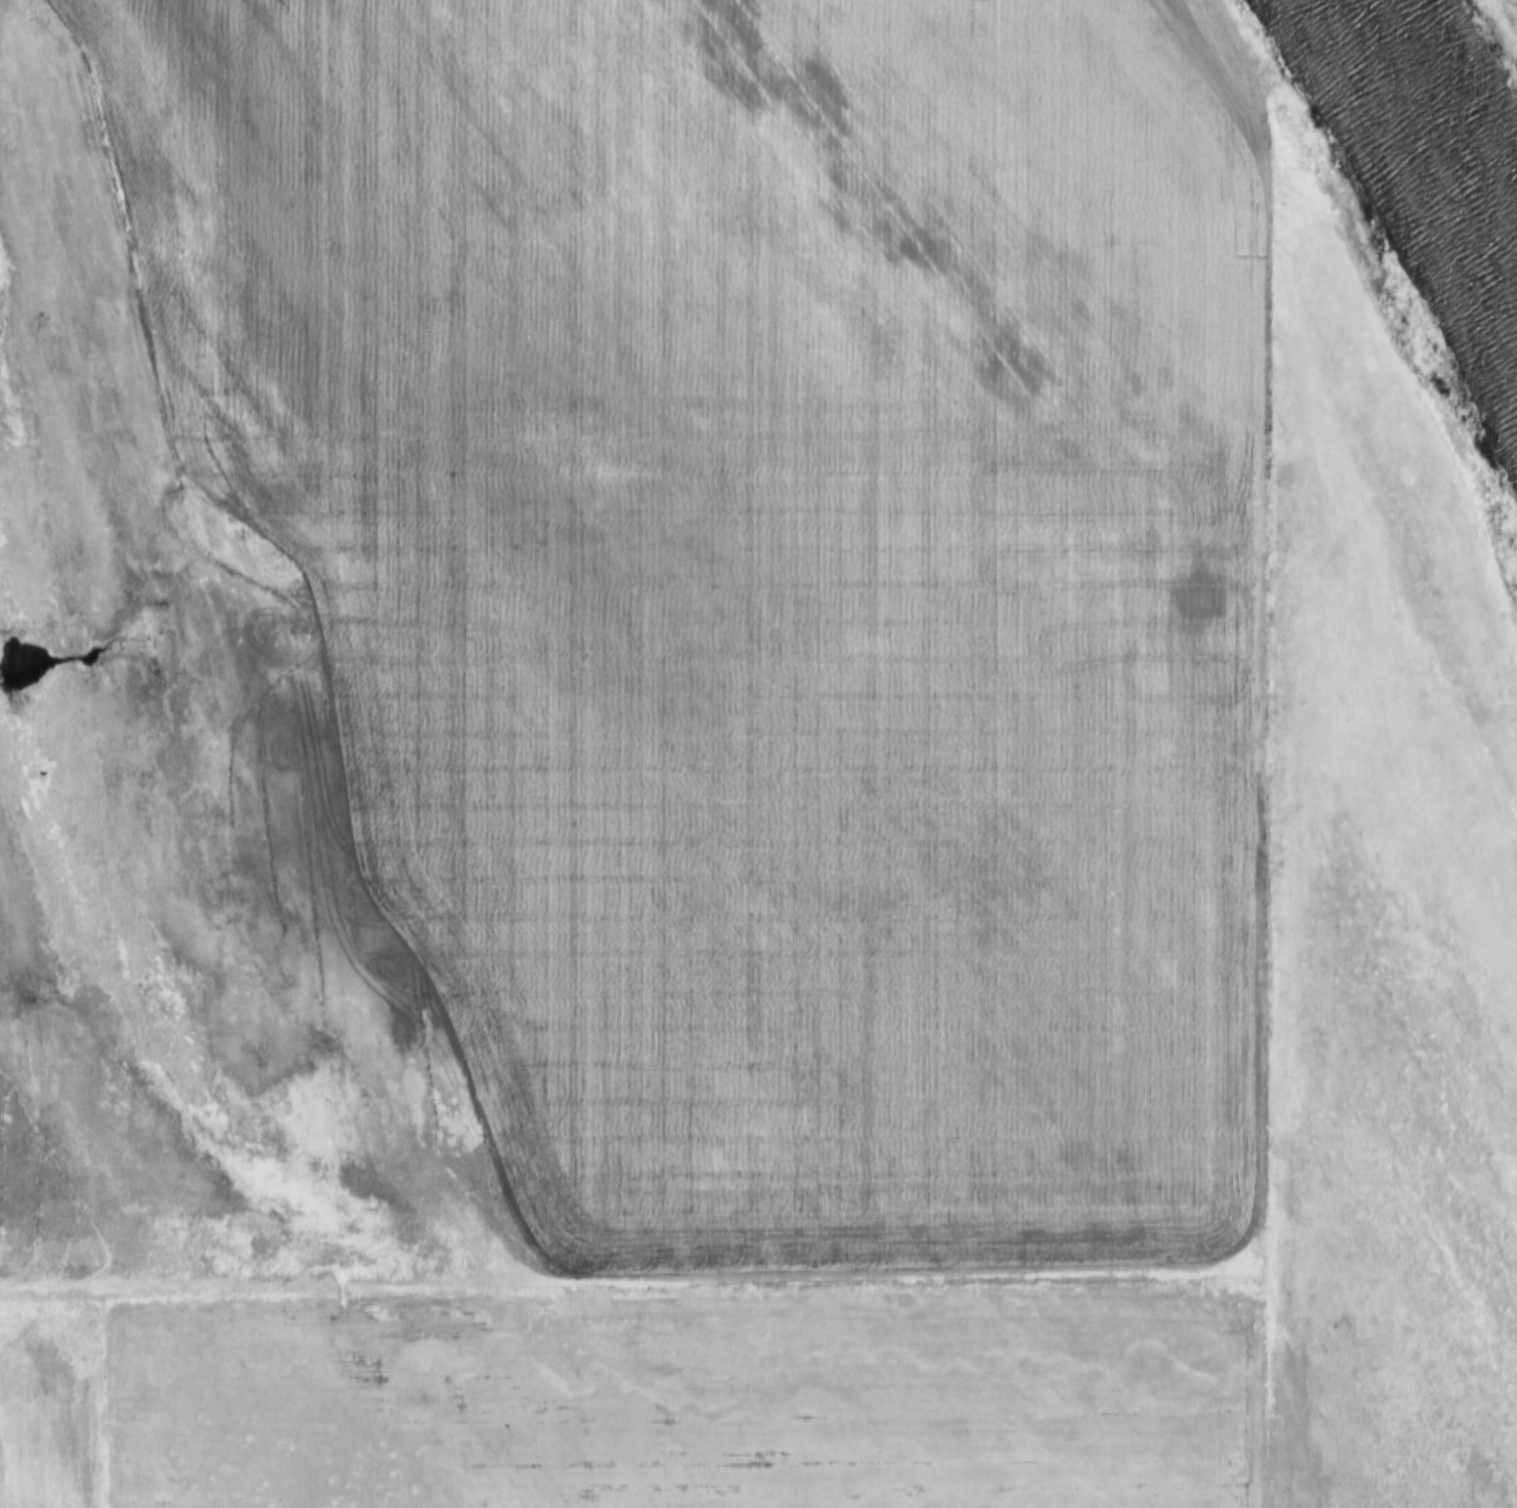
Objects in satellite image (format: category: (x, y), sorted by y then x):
river: (1431, 144)

